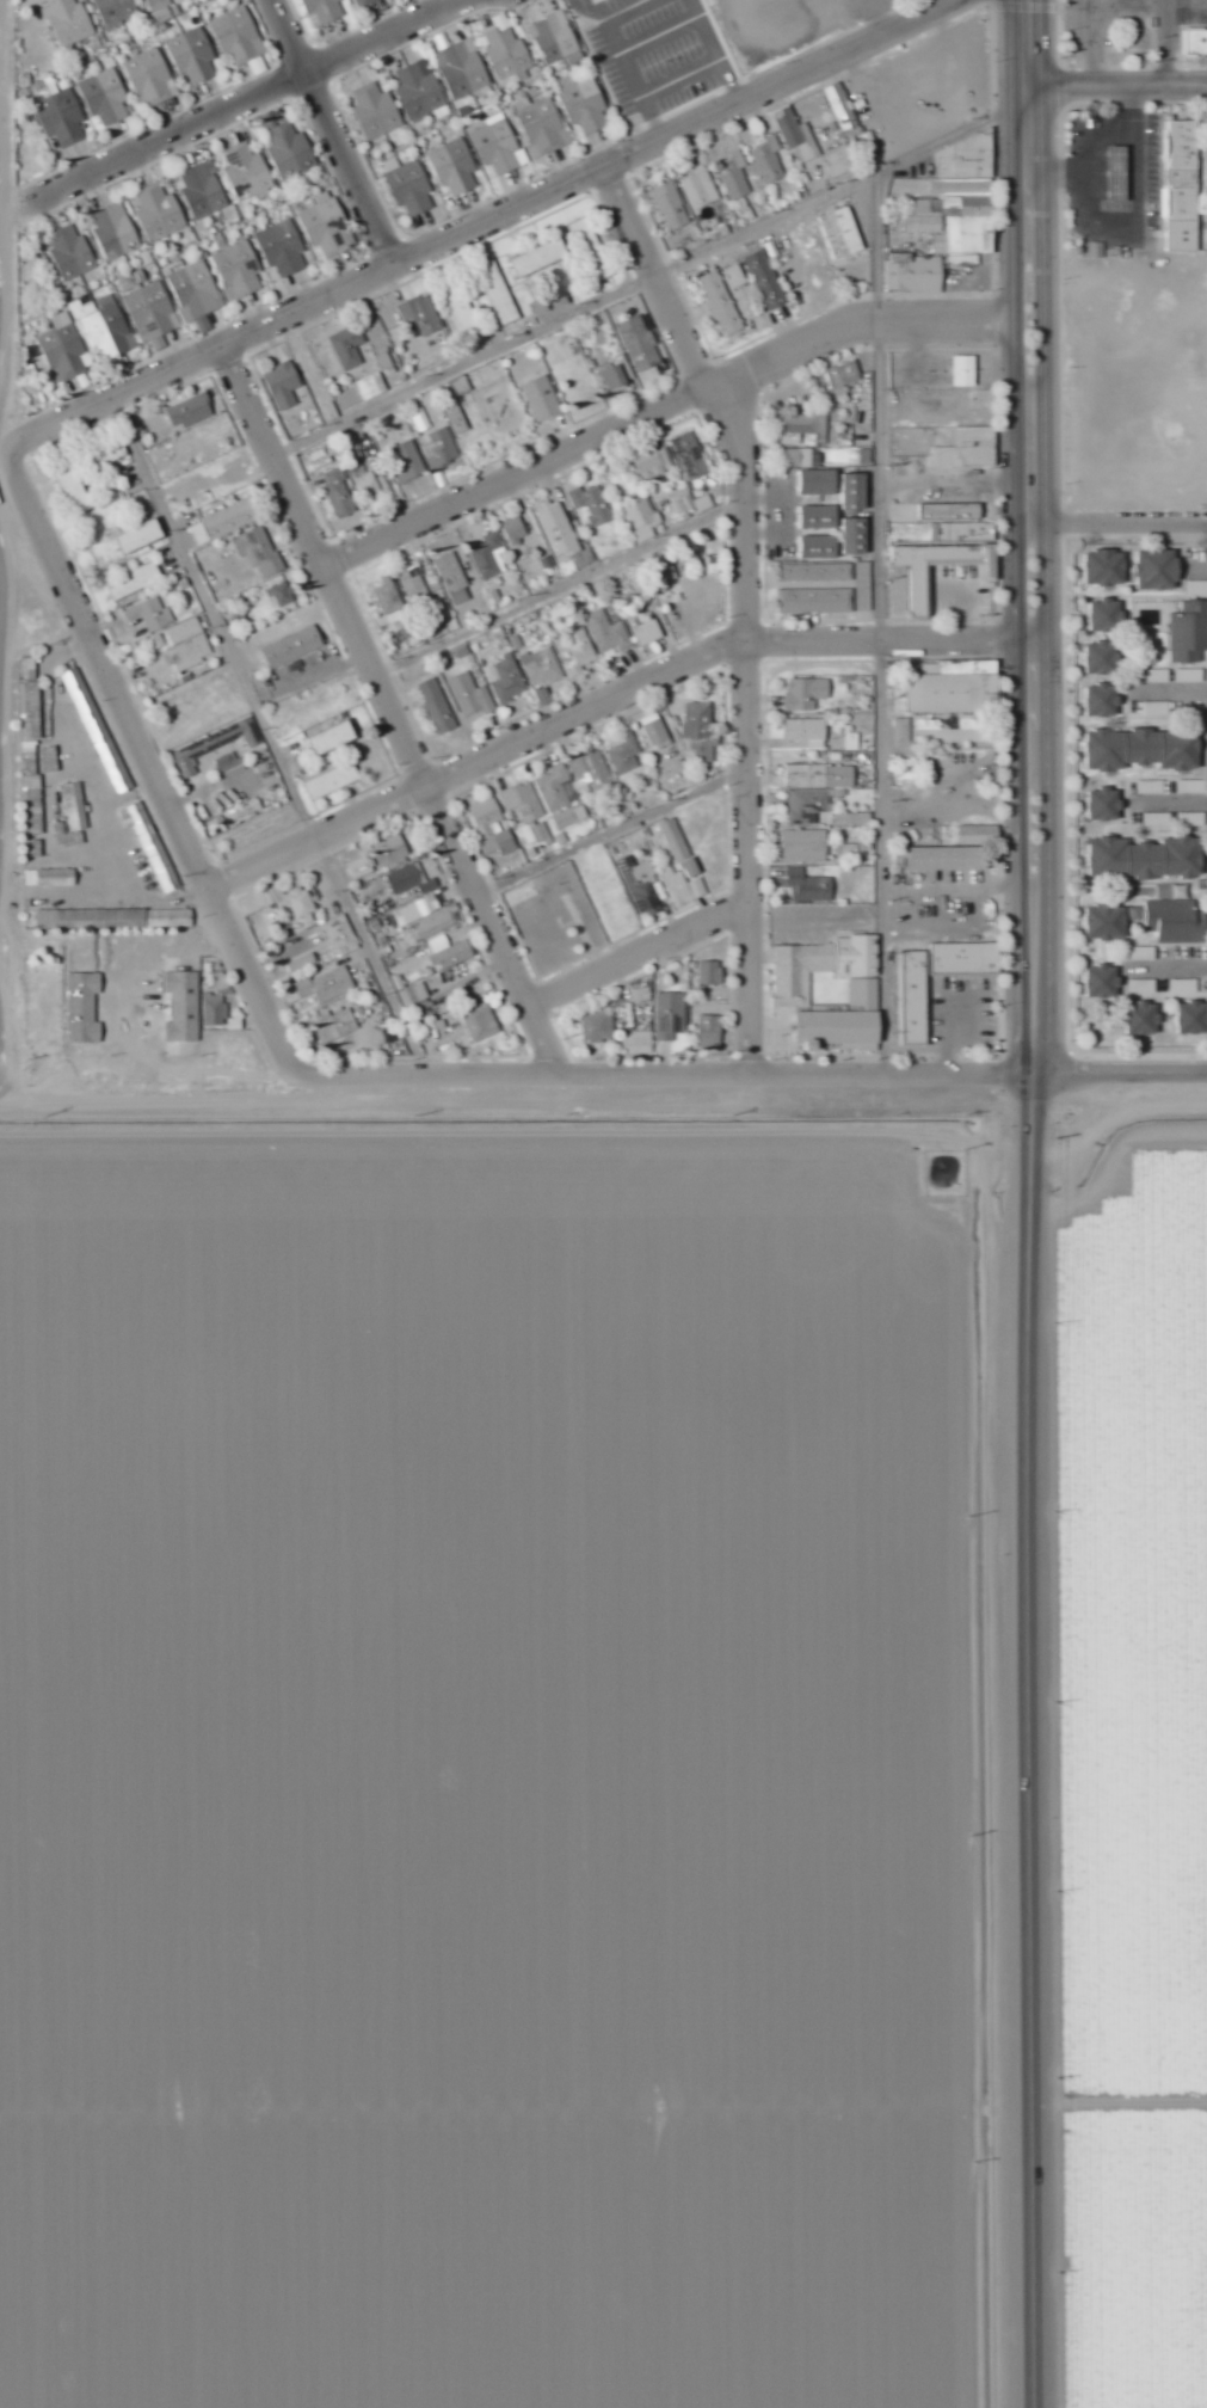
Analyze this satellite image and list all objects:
building: (364, 2)
road: (1096, 8)
building: (165, 10)
building: (117, 11)
building: (324, 11)
building: (69, 21)
road: (2, 24)
road: (661, 35)
building: (239, 36)
building: (555, 37)
building: (1197, 42)
road: (1168, 43)
building: (507, 49)
road: (720, 51)
building: (193, 55)
road: (624, 63)
building: (462, 68)
building: (152, 76)
road: (682, 78)
road: (1108, 87)
building: (420, 90)
building: (105, 97)
building: (584, 103)
building: (843, 106)
road: (233, 110)
building: (376, 111)
building: (62, 117)
building: (540, 121)
road: (335, 134)
building: (795, 134)
road: (4, 139)
building: (499, 145)
building: (288, 148)
building: (769, 161)
building: (840, 161)
building: (455, 166)
building: (248, 172)
building: (735, 176)
building: (1184, 186)
building: (412, 188)
building: (701, 189)
building: (202, 191)
building: (966, 197)
building: (672, 207)
building: (160, 213)
building: (925, 216)
crop: (8, 219)
building: (327, 226)
road: (487, 226)
building: (116, 232)
building: (843, 234)
building: (283, 247)
building: (593, 250)
building: (1098, 250)
building: (72, 252)
building: (542, 258)
building: (239, 270)
building: (737, 276)
building: (766, 281)
building: (195, 291)
building: (500, 293)
building: (722, 305)
building: (152, 311)
building: (462, 311)
building: (423, 315)
building: (105, 325)
road: (12, 343)
building: (640, 343)
building: (350, 346)
building: (966, 371)
building: (844, 375)
building: (617, 377)
building: (284, 385)
building: (372, 386)
building: (543, 399)
road: (664, 408)
building: (191, 411)
building: (331, 412)
building: (802, 428)
building: (350, 447)
road: (1040, 447)
road: (1015, 448)
building: (968, 449)
building: (441, 450)
building: (106, 455)
building: (690, 456)
building: (801, 456)
building: (408, 462)
building: (654, 463)
building: (820, 483)
building: (368, 484)
building: (74, 489)
building: (856, 492)
building: (340, 493)
building: (593, 504)
building: (704, 504)
building: (682, 509)
building: (820, 518)
building: (642, 521)
road: (1111, 521)
building: (224, 522)
building: (957, 523)
building: (516, 530)
building: (561, 533)
building: (856, 536)
building: (142, 537)
building: (820, 548)
building: (260, 552)
building: (488, 557)
building: (1107, 569)
building: (1159, 571)
building: (817, 572)
building: (661, 573)
building: (454, 578)
building: (136, 582)
building: (414, 584)
building: (1196, 588)
road: (556, 591)
building: (282, 595)
building: (389, 596)
building: (818, 601)
building: (920, 601)
building: (899, 602)
road: (738, 613)
building: (153, 615)
building: (1107, 616)
building: (608, 632)
building: (648, 633)
building: (1189, 633)
building: (189, 645)
building: (581, 646)
building: (292, 647)
building: (1102, 658)
building: (542, 666)
building: (509, 681)
building: (954, 688)
building: (807, 694)
building: (472, 696)
building: (32, 698)
road: (603, 701)
building: (1103, 701)
building: (438, 706)
building: (1152, 709)
road: (396, 719)
building: (98, 731)
building: (657, 732)
building: (808, 732)
building: (701, 733)
building: (904, 733)
building: (334, 739)
building: (217, 751)
building: (1143, 751)
building: (627, 755)
building: (593, 768)
building: (820, 776)
building: (909, 778)
building: (334, 781)
building: (555, 788)
road: (152, 793)
road: (123, 799)
building: (524, 803)
building: (808, 805)
building: (1106, 805)
building: (35, 806)
building: (487, 817)
building: (73, 818)
building: (854, 819)
crop: (11, 829)
building: (530, 834)
building: (979, 835)
building: (152, 844)
building: (498, 846)
building: (806, 846)
building: (1147, 859)
building: (949, 860)
building: (363, 867)
building: (682, 867)
building: (53, 878)
building: (641, 884)
building: (809, 886)
building: (616, 899)
building: (303, 905)
building: (426, 917)
building: (115, 919)
building: (1177, 922)
building: (1108, 923)
building: (344, 936)
building: (454, 957)
road: (639, 957)
building: (302, 964)
building: (821, 967)
building: (710, 973)
building: (1104, 983)
building: (327, 985)
building: (1143, 987)
building: (864, 995)
building: (419, 1000)
building: (184, 1007)
building: (215, 1009)
building: (916, 1009)
building: (671, 1016)
building: (1193, 1019)
building: (1145, 1020)
building: (481, 1024)
building: (598, 1025)
building: (335, 1026)
building: (840, 1032)
building: (709, 1034)
building: (639, 1043)
road: (599, 1085)
crop: (1135, 1630)
road: (1036, 1648)
crop: (498, 1765)
crop: (1141, 2265)

